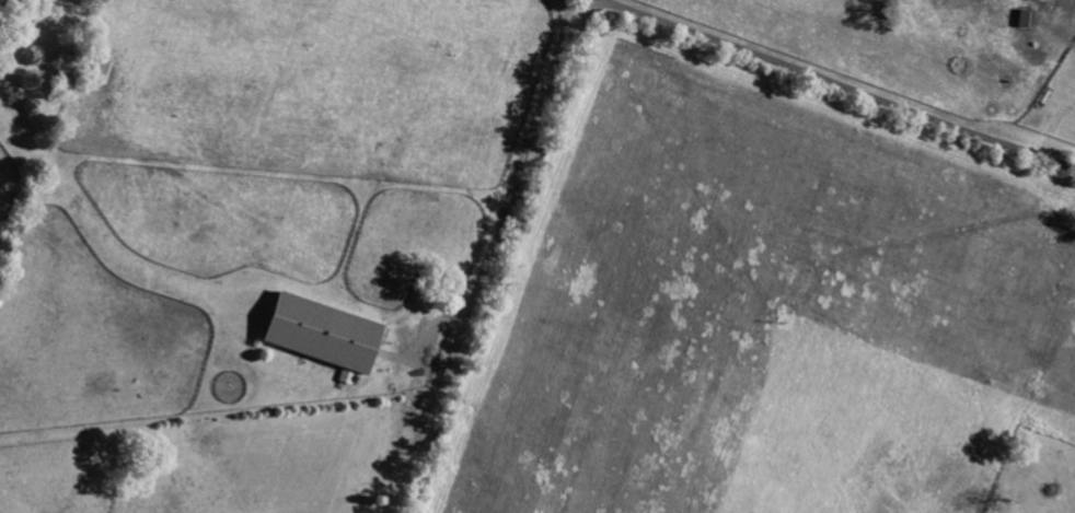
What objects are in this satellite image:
road: (839, 84)
road: (486, 257)
building: (324, 335)

